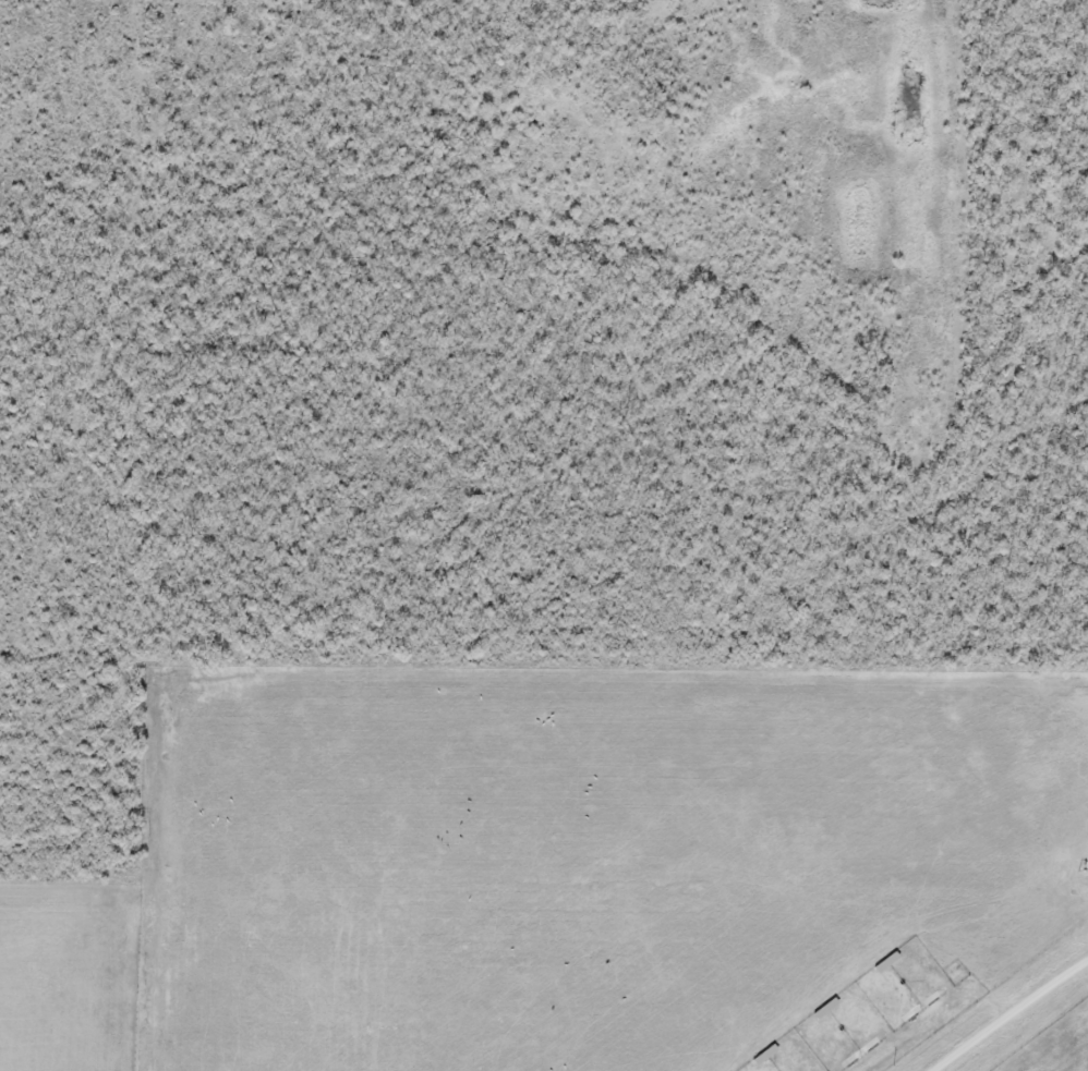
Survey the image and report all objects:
road: (1019, 1021)

